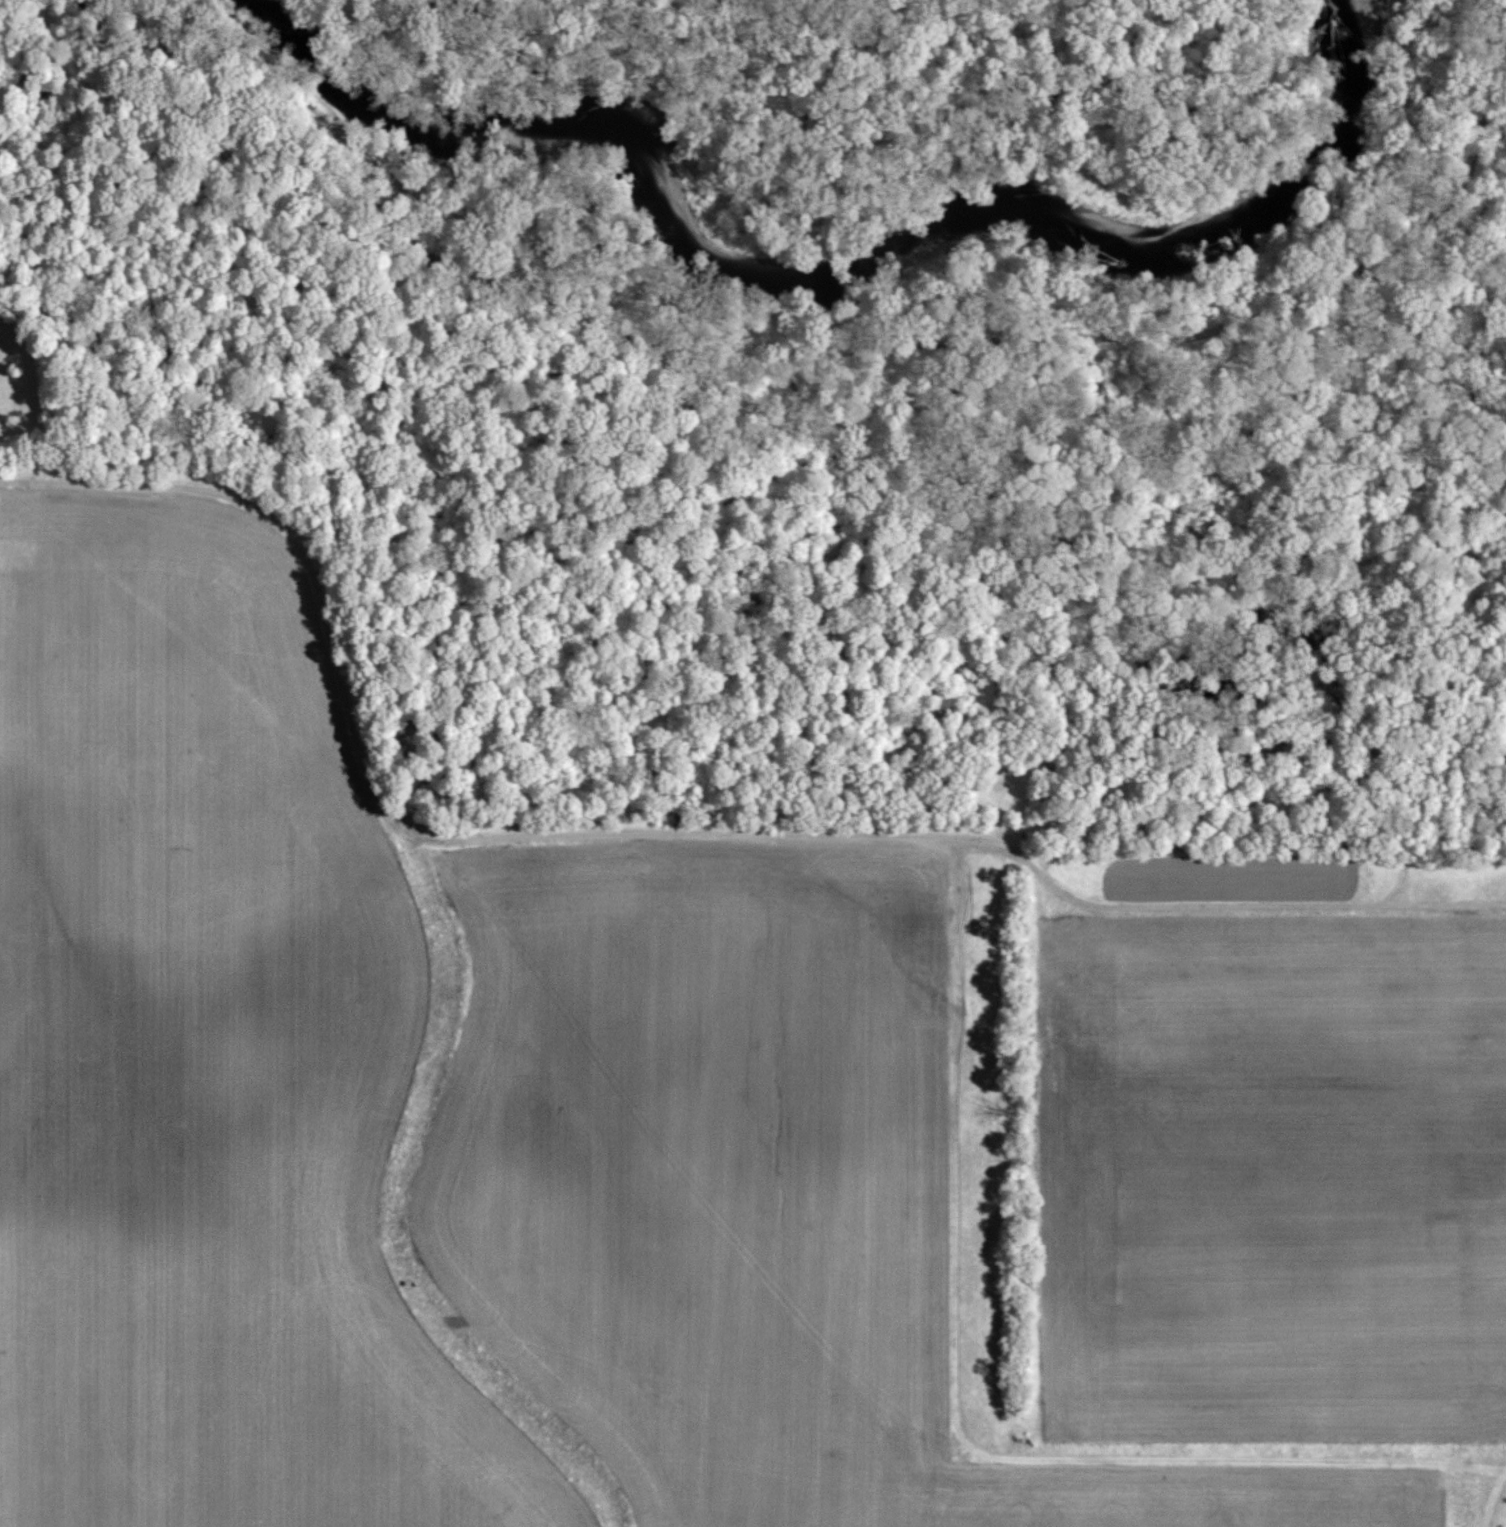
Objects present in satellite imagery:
river: (815, 280)
road: (650, 832)

